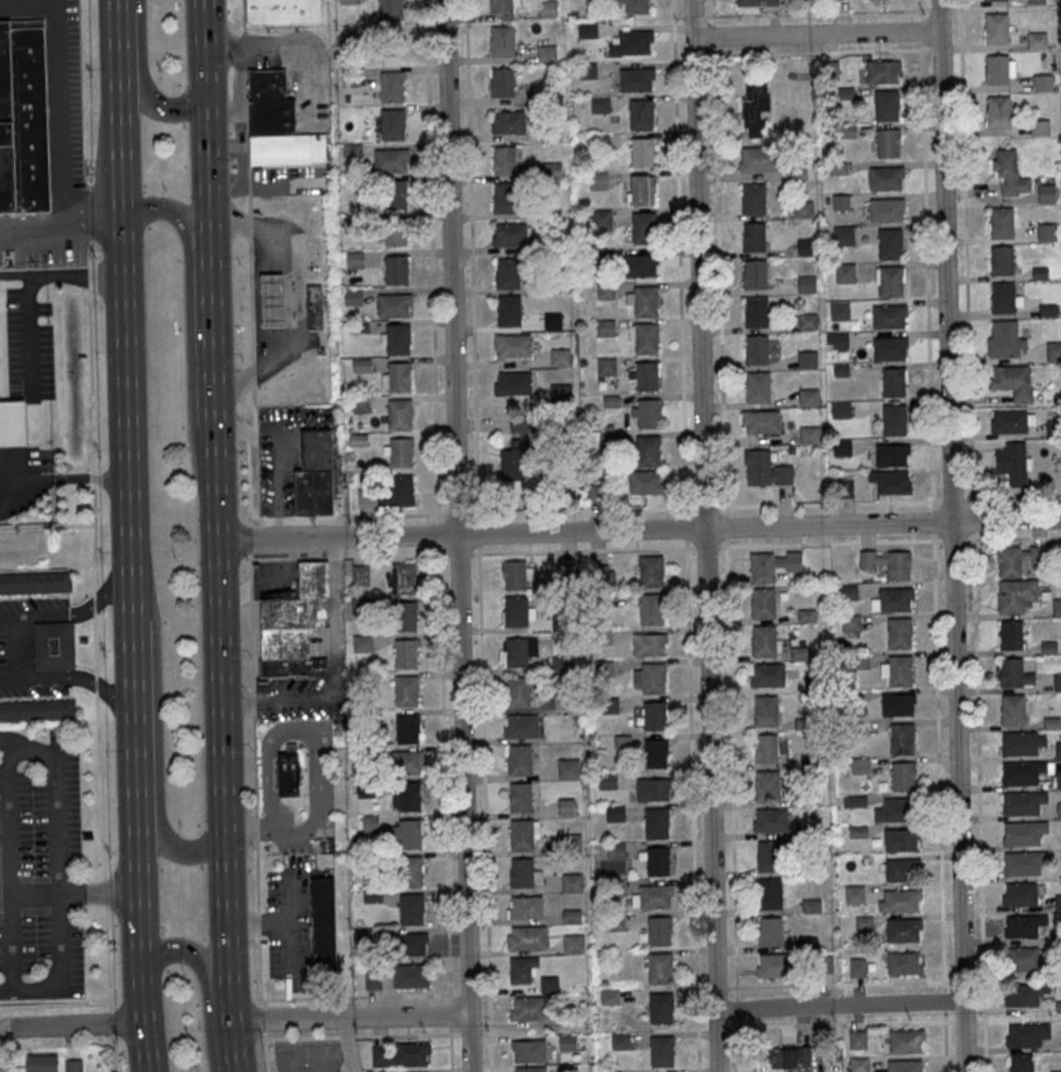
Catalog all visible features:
building: (991, 0)
building: (348, 1)
building: (1037, 1)
building: (756, 2)
road: (8, 4)
building: (636, 5)
road: (27, 7)
building: (501, 7)
building: (547, 9)
building: (391, 10)
building: (283, 12)
road: (243, 17)
road: (203, 25)
road: (117, 28)
building: (996, 28)
road: (814, 34)
building: (502, 40)
building: (1036, 40)
building: (632, 43)
road: (293, 49)
road: (245, 51)
building: (547, 53)
building: (996, 70)
road: (204, 71)
building: (883, 72)
building: (636, 79)
building: (502, 81)
building: (1043, 83)
building: (391, 86)
building: (886, 104)
road: (152, 106)
building: (756, 108)
parking lot: (68, 109)
building: (998, 111)
building: (640, 114)
road: (61, 119)
building: (507, 122)
building: (23, 123)
building: (392, 124)
building: (1040, 127)
building: (280, 128)
road: (248, 140)
building: (887, 142)
building: (642, 151)
building: (758, 159)
building: (390, 160)
building: (504, 160)
road: (206, 169)
building: (552, 169)
building: (797, 172)
building: (1009, 174)
building: (885, 177)
building: (597, 180)
building: (642, 190)
building: (1047, 193)
building: (396, 194)
building: (504, 197)
building: (753, 198)
building: (803, 209)
building: (886, 210)
building: (602, 218)
building: (1000, 222)
building: (643, 227)
road: (250, 228)
building: (1047, 232)
building: (509, 235)
building: (843, 235)
building: (753, 238)
road: (66, 241)
building: (889, 243)
building: (806, 247)
road: (88, 252)
road: (719, 252)
parking lot: (48, 253)
road: (926, 255)
road: (967, 255)
road: (679, 256)
building: (1001, 261)
road: (471, 262)
building: (641, 265)
building: (396, 269)
road: (88, 272)
road: (62, 273)
building: (507, 273)
building: (844, 273)
building: (754, 275)
building: (889, 281)
building: (806, 283)
building: (1002, 297)
building: (645, 301)
road: (252, 302)
building: (394, 304)
building: (273, 305)
building: (508, 310)
building: (839, 310)
building: (314, 311)
building: (756, 312)
building: (888, 316)
building: (553, 320)
building: (808, 320)
building: (606, 328)
road: (188, 330)
road: (29, 335)
road: (212, 336)
building: (397, 338)
building: (645, 338)
building: (836, 340)
building: (1006, 340)
parking lot: (29, 344)
building: (511, 345)
building: (889, 348)
building: (756, 350)
building: (1053, 351)
building: (559, 357)
building: (807, 358)
building: (606, 366)
road: (91, 375)
road: (253, 376)
building: (646, 376)
building: (397, 377)
building: (1012, 380)
building: (893, 382)
building: (513, 383)
building: (758, 387)
building: (808, 396)
road: (254, 409)
building: (648, 413)
building: (399, 414)
building: (893, 418)
building: (1012, 420)
building: (760, 421)
building: (12, 424)
building: (1052, 428)
building: (809, 434)
road: (251, 436)
building: (648, 450)
building: (400, 452)
building: (892, 455)
building: (511, 463)
building: (1013, 463)
building: (766, 469)
building: (315, 475)
road: (93, 477)
road: (59, 479)
building: (645, 481)
building: (891, 481)
road: (248, 483)
building: (400, 490)
road: (951, 500)
road: (1011, 500)
road: (828, 503)
road: (705, 506)
road: (128, 509)
road: (581, 509)
road: (725, 509)
road: (457, 515)
road: (380, 516)
road: (290, 518)
road: (257, 519)
road: (439, 520)
road: (972, 521)
road: (933, 522)
road: (725, 525)
road: (48, 526)
road: (685, 526)
road: (639, 528)
road: (479, 534)
road: (439, 535)
road: (456, 535)
road: (705, 535)
road: (950, 535)
road: (1012, 537)
road: (951, 538)
road: (94, 539)
road: (250, 540)
road: (828, 541)
road: (705, 545)
road: (582, 548)
road: (479, 550)
road: (459, 554)
road: (395, 555)
road: (336, 557)
road: (289, 559)
building: (1019, 559)
building: (887, 563)
building: (772, 565)
building: (651, 570)
building: (603, 572)
building: (361, 573)
building: (514, 575)
building: (403, 578)
building: (35, 582)
building: (848, 592)
road: (336, 594)
road: (118, 596)
building: (1015, 596)
building: (893, 600)
building: (762, 604)
road: (94, 606)
parking lot: (30, 607)
road: (89, 607)
building: (1057, 607)
building: (652, 609)
building: (516, 611)
road: (35, 614)
building: (405, 616)
building: (293, 622)
building: (850, 622)
building: (899, 632)
building: (1010, 635)
building: (765, 642)
building: (363, 643)
building: (649, 644)
building: (54, 645)
road: (94, 646)
building: (516, 652)
building: (405, 653)
street lamp: (247, 657)
building: (896, 670)
building: (1014, 673)
road: (338, 674)
building: (767, 676)
building: (649, 678)
building: (1057, 682)
road: (42, 684)
road: (96, 684)
road: (98, 685)
road: (252, 686)
building: (406, 691)
building: (518, 692)
parking lot: (22, 693)
road: (122, 694)
road: (219, 698)
road: (279, 698)
building: (898, 704)
road: (156, 710)
building: (1012, 710)
building: (37, 711)
building: (766, 711)
building: (655, 715)
building: (520, 727)
building: (407, 729)
road: (292, 731)
building: (901, 739)
building: (1023, 742)
road: (27, 743)
building: (767, 748)
building: (1058, 749)
building: (655, 753)
building: (519, 759)
building: (407, 762)
building: (569, 769)
building: (288, 770)
building: (1022, 772)
road: (443, 773)
road: (317, 775)
building: (902, 777)
road: (269, 778)
building: (1059, 780)
road: (98, 784)
building: (767, 785)
building: (652, 790)
building: (408, 796)
building: (520, 796)
building: (1022, 802)
road: (938, 803)
road: (978, 803)
road: (692, 804)
road: (731, 804)
building: (566, 807)
building: (894, 810)
building: (1059, 810)
road: (484, 812)
building: (615, 814)
building: (770, 820)
building: (656, 823)
road: (269, 824)
parking lot: (46, 825)
road: (256, 829)
building: (1023, 832)
building: (522, 833)
building: (407, 834)
building: (901, 840)
building: (571, 842)
building: (770, 857)
building: (657, 860)
building: (1024, 862)
road: (59, 866)
road: (8, 867)
building: (902, 869)
building: (413, 871)
building: (522, 872)
road: (257, 875)
building: (572, 882)
road: (106, 890)
road: (74, 892)
building: (770, 894)
building: (854, 894)
building: (1020, 894)
building: (652, 897)
building: (899, 900)
building: (525, 907)
building: (410, 909)
road: (258, 922)
road: (258, 923)
building: (324, 923)
road: (290, 924)
building: (1022, 925)
parking lot: (298, 930)
building: (659, 930)
building: (904, 930)
building: (770, 931)
building: (527, 937)
building: (409, 944)
building: (573, 944)
parking lot: (46, 946)
road: (112, 957)
building: (1022, 959)
building: (904, 962)
building: (772, 966)
building: (857, 967)
building: (660, 968)
building: (521, 969)
road: (260, 970)
building: (410, 976)
road: (204, 983)
building: (548, 984)
road: (839, 984)
road: (29, 989)
road: (463, 993)
road: (141, 994)
building: (1025, 994)
road: (358, 995)
building: (609, 996)
road: (230, 997)
road: (55, 1005)
road: (838, 1006)
building: (528, 1008)
building: (660, 1008)
road: (450, 1012)
road: (349, 1014)
road: (261, 1018)
road: (110, 1022)
road: (841, 1023)
road: (72, 1025)
road: (464, 1032)
road: (406, 1033)
building: (1026, 1034)
road: (345, 1035)
road: (301, 1037)
building: (857, 1039)
building: (620, 1041)
building: (907, 1041)
building: (567, 1042)
road: (45, 1044)
road: (346, 1044)
road: (233, 1046)
road: (451, 1047)
road: (146, 1048)
building: (528, 1050)
building: (661, 1050)
road: (265, 1051)
road: (113, 1052)
building: (402, 1054)
building: (787, 1057)
building: (42, 1062)
building: (1021, 1062)
building: (859, 1064)
building: (73, 1065)
building: (904, 1065)
building: (530, 1069)
building: (375, 1071)

